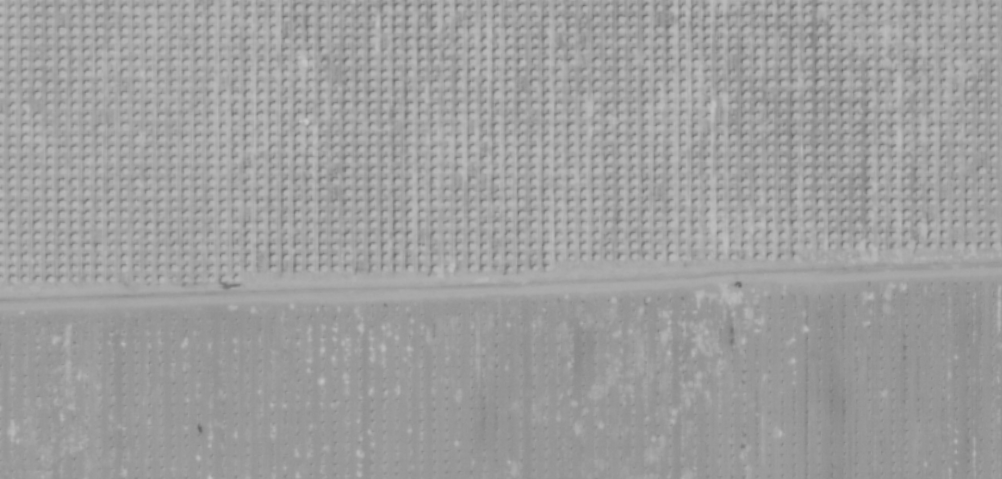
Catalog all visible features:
crop: (501, 239)

